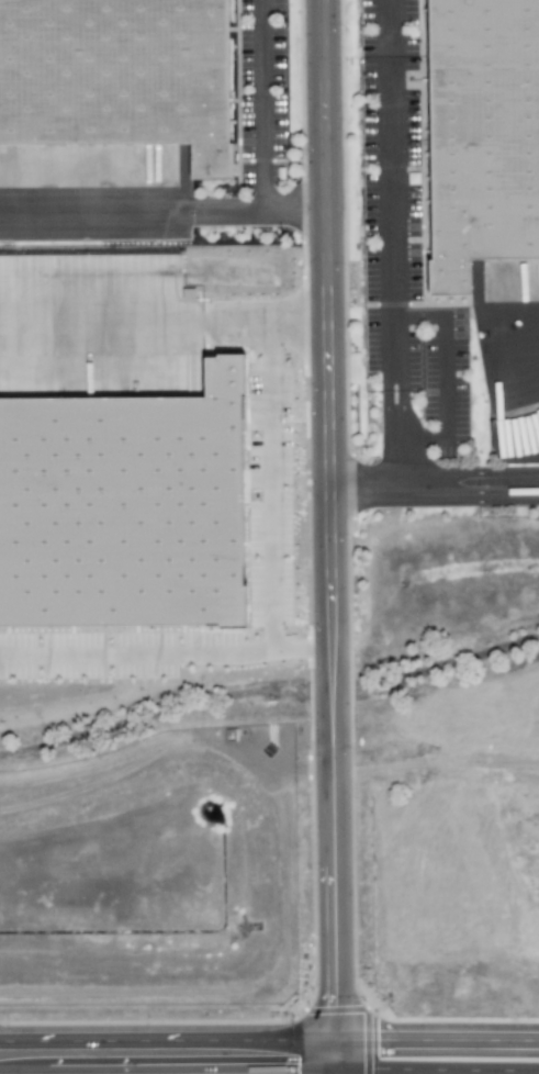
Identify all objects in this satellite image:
building: (116, 92)
road: (259, 105)
building: (481, 136)
road: (162, 212)
road: (394, 277)
road: (443, 377)
road: (468, 484)
road: (268, 489)
building: (123, 508)
road: (328, 527)
traffic signals: (333, 1055)
road: (269, 1056)
road: (333, 1064)

